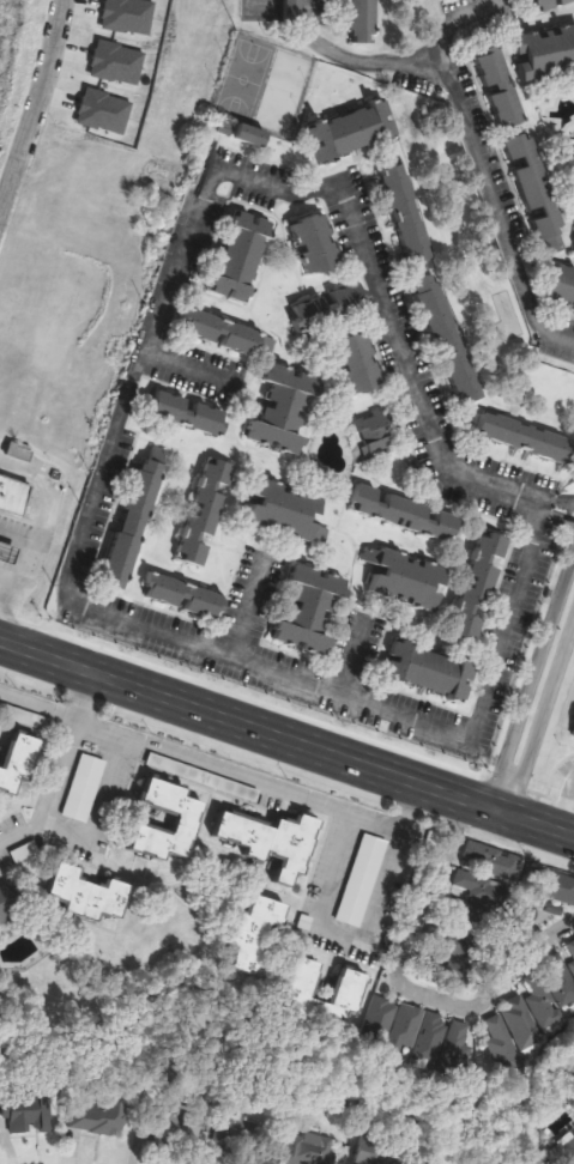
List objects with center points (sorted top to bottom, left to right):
building: (551, 4)
building: (364, 22)
road: (454, 23)
building: (545, 51)
building: (500, 87)
road: (35, 110)
building: (352, 131)
road: (464, 132)
building: (252, 135)
building: (537, 193)
building: (406, 216)
building: (316, 244)
building: (242, 257)
building: (562, 284)
building: (331, 307)
building: (225, 333)
building: (448, 339)
road: (183, 363)
building: (359, 363)
building: (285, 410)
building: (187, 413)
building: (376, 435)
building: (526, 437)
road: (108, 447)
building: (13, 495)
road: (563, 507)
building: (206, 511)
building: (286, 511)
building: (404, 513)
road: (43, 514)
building: (134, 521)
road: (17, 540)
building: (7, 552)
building: (404, 578)
building: (479, 584)
building: (187, 596)
road: (6, 598)
road: (246, 608)
building: (312, 610)
road: (349, 656)
building: (429, 671)
road: (536, 698)
road: (37, 705)
road: (285, 741)
building: (18, 762)
road: (58, 771)
road: (255, 780)
building: (84, 789)
road: (97, 804)
road: (564, 806)
building: (189, 819)
building: (272, 843)
building: (493, 861)
building: (362, 880)
building: (554, 887)
building: (482, 890)
building: (89, 895)
building: (10, 902)
building: (262, 923)
building: (467, 930)
road: (342, 935)
building: (570, 952)
building: (302, 986)
road: (410, 986)
building: (551, 988)
building: (380, 1020)
building: (522, 1024)
building: (406, 1030)
building: (431, 1039)
building: (503, 1047)
building: (457, 1049)
building: (30, 1111)
building: (98, 1117)
building: (238, 1136)
building: (180, 1138)
building: (313, 1150)
building: (386, 1150)

